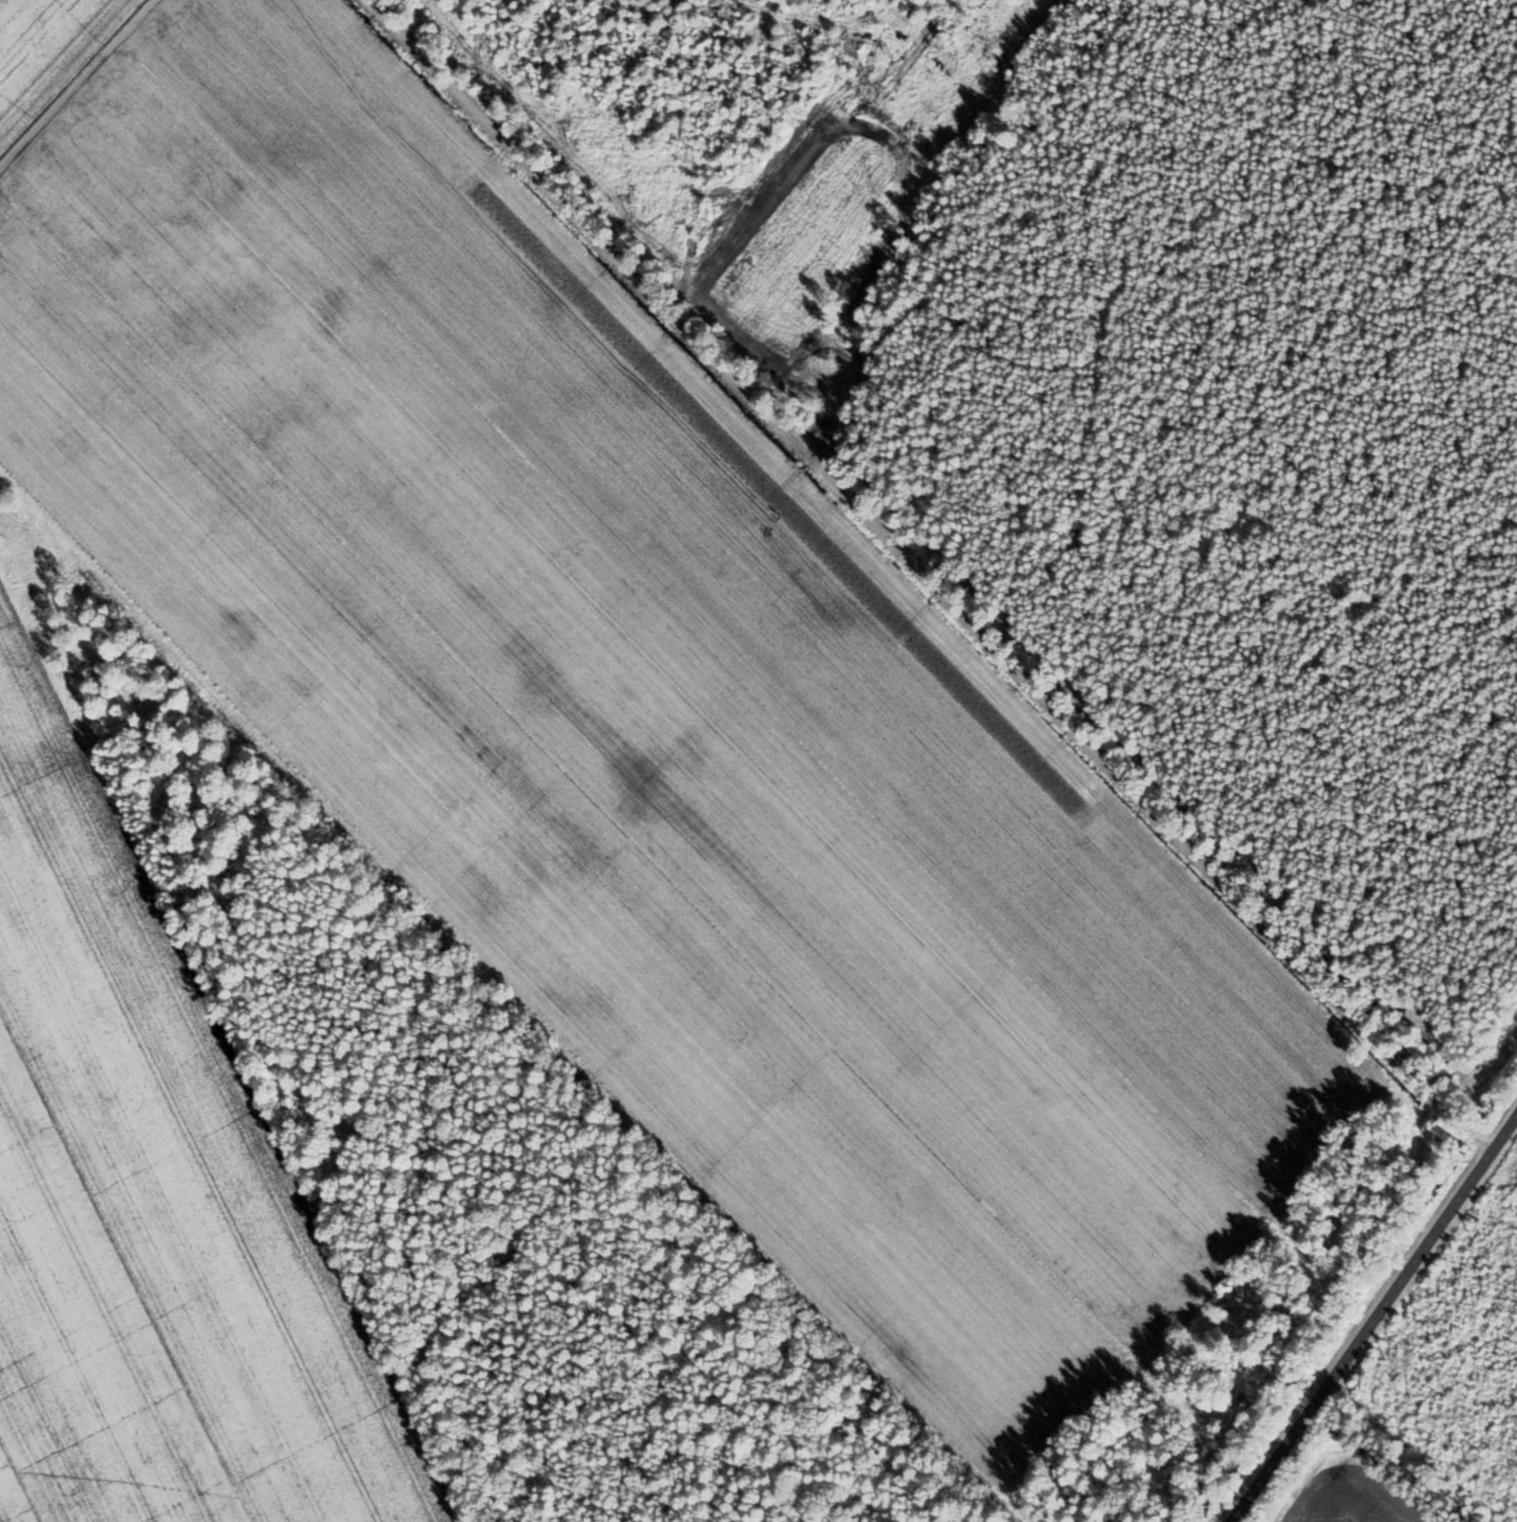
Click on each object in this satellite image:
road: (922, 581)
road: (1373, 1318)

